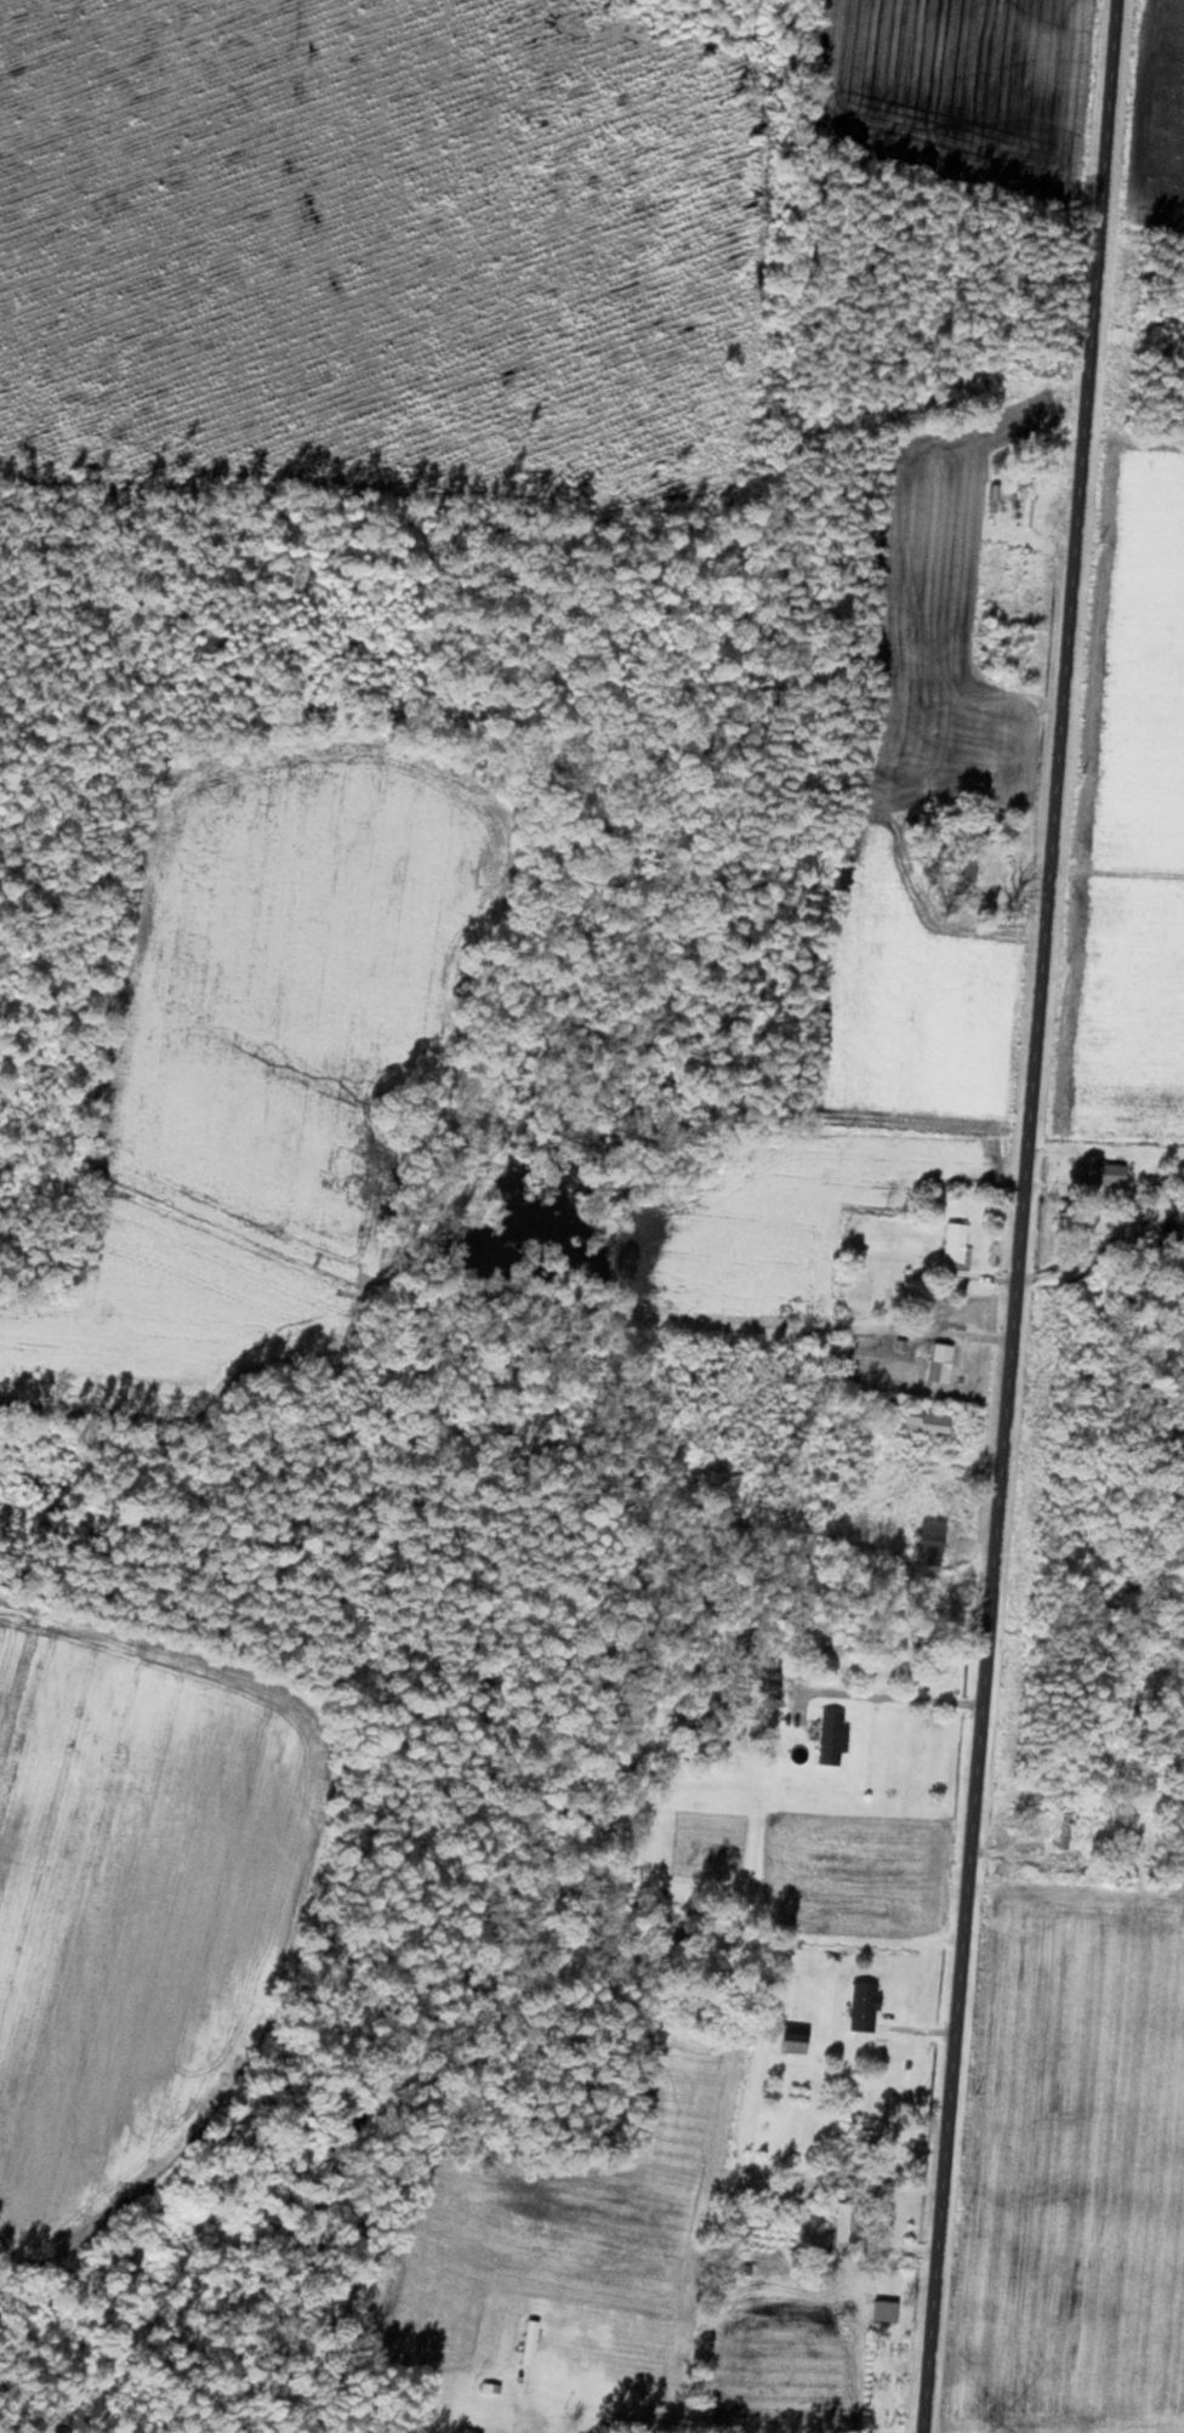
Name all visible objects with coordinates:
building: (1029, 508)
building: (970, 870)
building: (1110, 1171)
road: (1021, 1216)
building: (958, 1240)
building: (944, 1360)
building: (929, 1421)
building: (935, 1537)
building: (772, 1677)
building: (833, 1735)
building: (1068, 1829)
building: (865, 2006)
building: (798, 2037)
building: (888, 2309)
building: (533, 2341)

